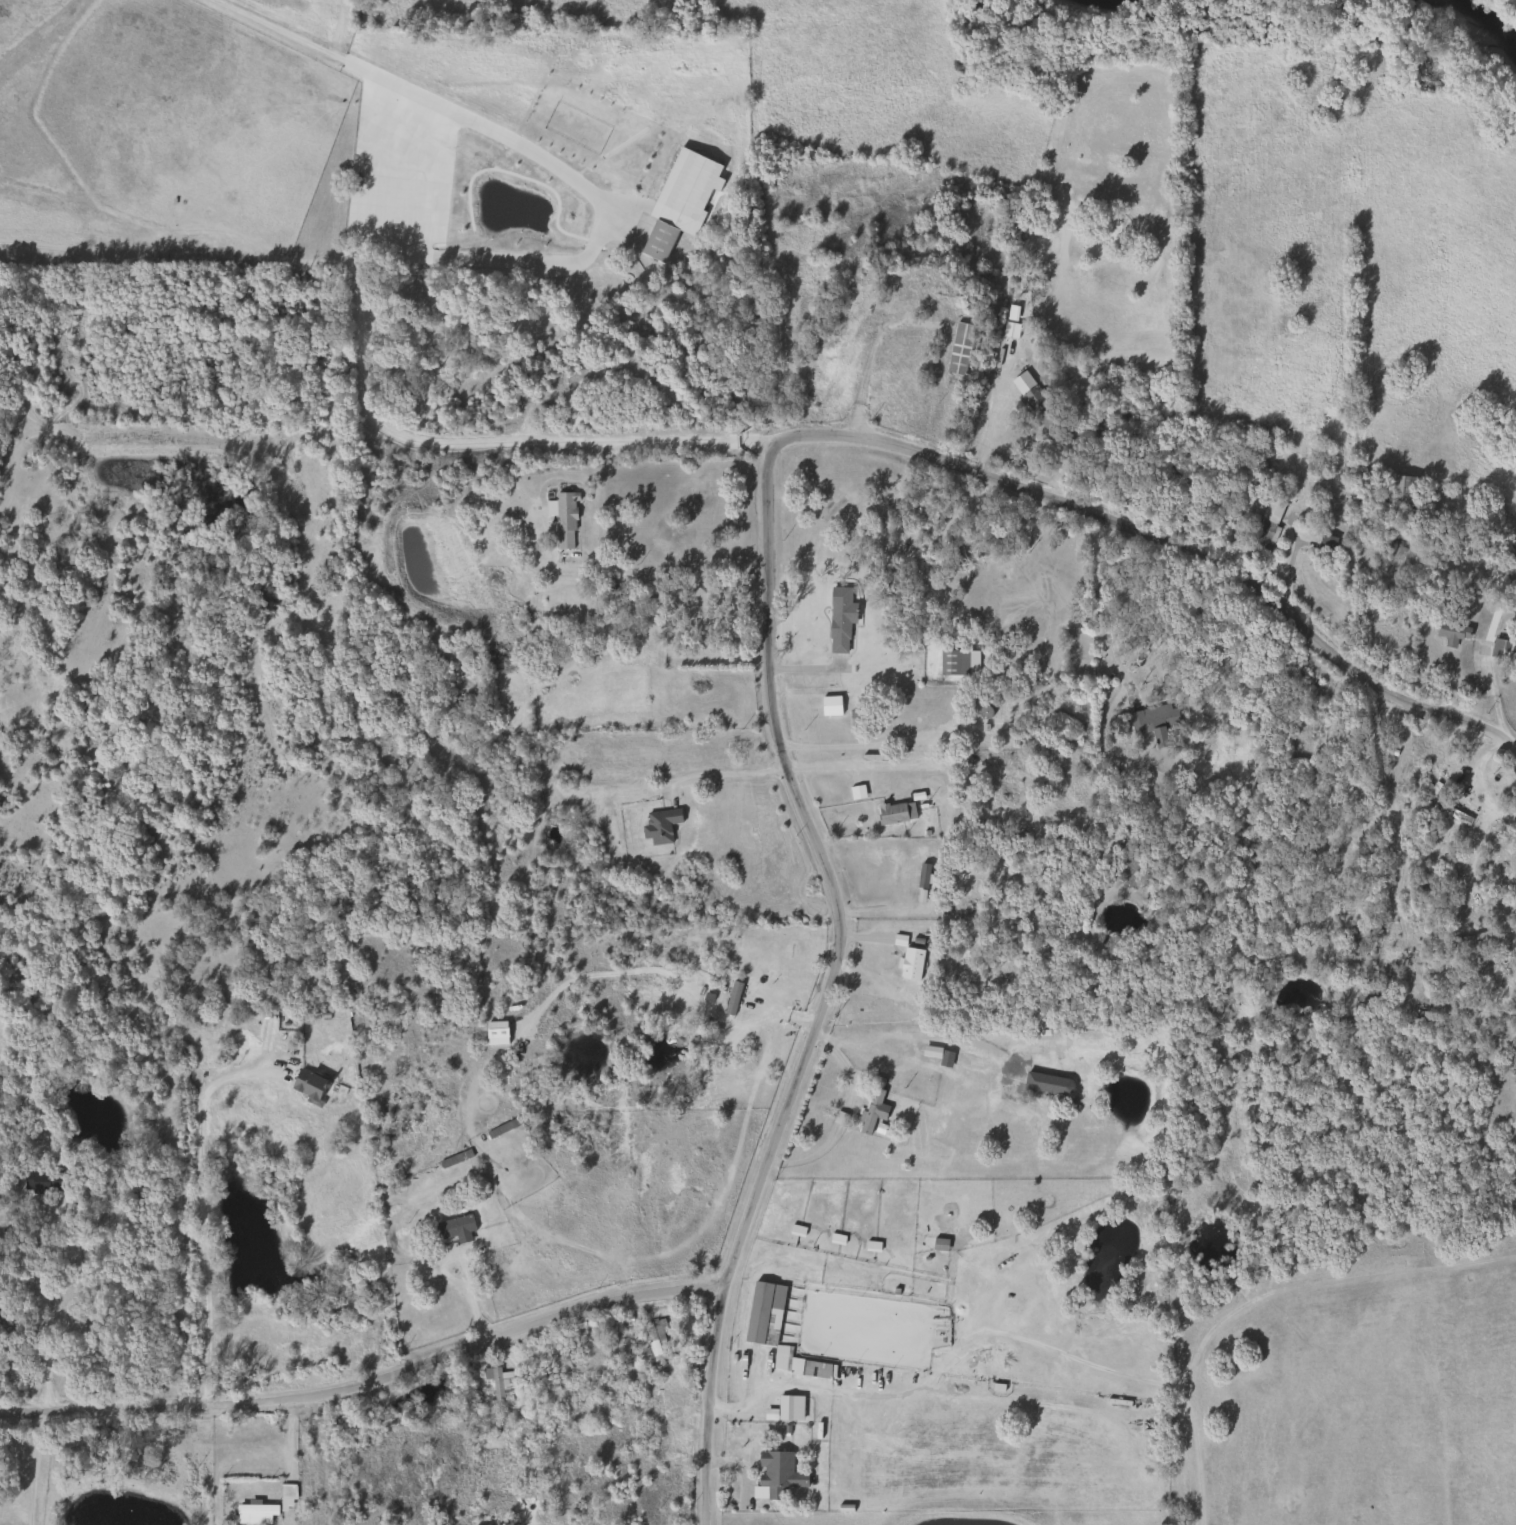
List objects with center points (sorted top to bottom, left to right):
river: (1102, 1)
river: (1482, 27)
airport runway: (409, 94)
building: (656, 240)
building: (834, 319)
building: (957, 348)
road: (866, 363)
building: (1038, 407)
building: (1320, 456)
building: (1398, 490)
building: (561, 519)
building: (1264, 524)
building: (1324, 543)
building: (1010, 544)
road: (1165, 545)
building: (954, 550)
road: (670, 570)
building: (649, 610)
road: (1106, 613)
building: (838, 618)
building: (1450, 633)
building: (1502, 650)
road: (1492, 694)
building: (828, 706)
building: (855, 719)
building: (1152, 724)
road: (889, 742)
road: (726, 776)
building: (893, 812)
building: (1449, 813)
building: (657, 825)
building: (1340, 862)
building: (1124, 870)
road: (1467, 871)
building: (921, 887)
building: (1468, 940)
building: (778, 962)
building: (908, 963)
road: (824, 986)
building: (1418, 1017)
building: (1047, 1081)
building: (306, 1085)
building: (868, 1113)
building: (39, 1181)
road: (200, 1221)
building: (452, 1229)
building: (762, 1314)
road: (44, 1316)
building: (655, 1342)
road: (366, 1381)
building: (497, 1384)
road: (761, 1390)
building: (784, 1408)
road: (28, 1467)
building: (776, 1475)
building: (286, 1492)
building: (252, 1514)

